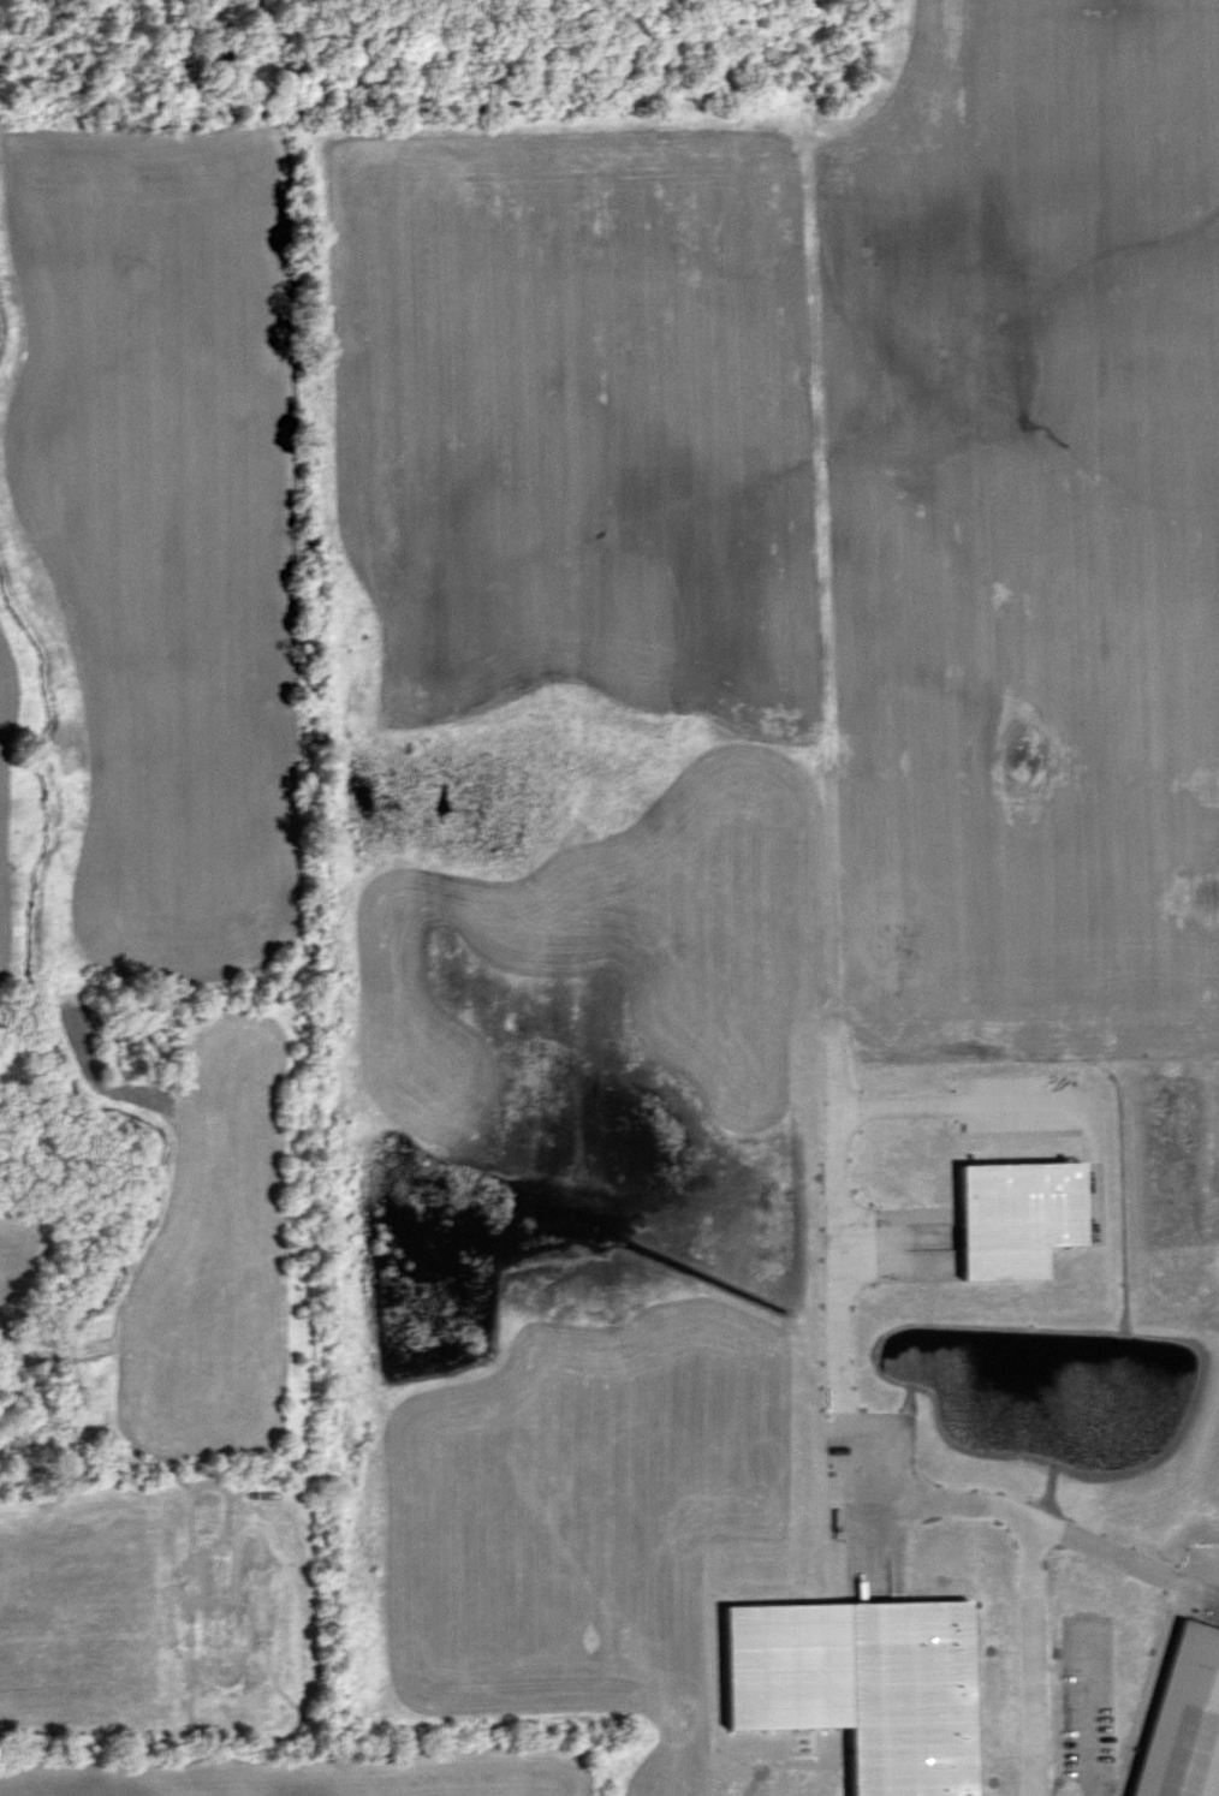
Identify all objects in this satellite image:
building: (1019, 1215)
road: (864, 1479)
building: (867, 1683)
building: (1187, 1718)

